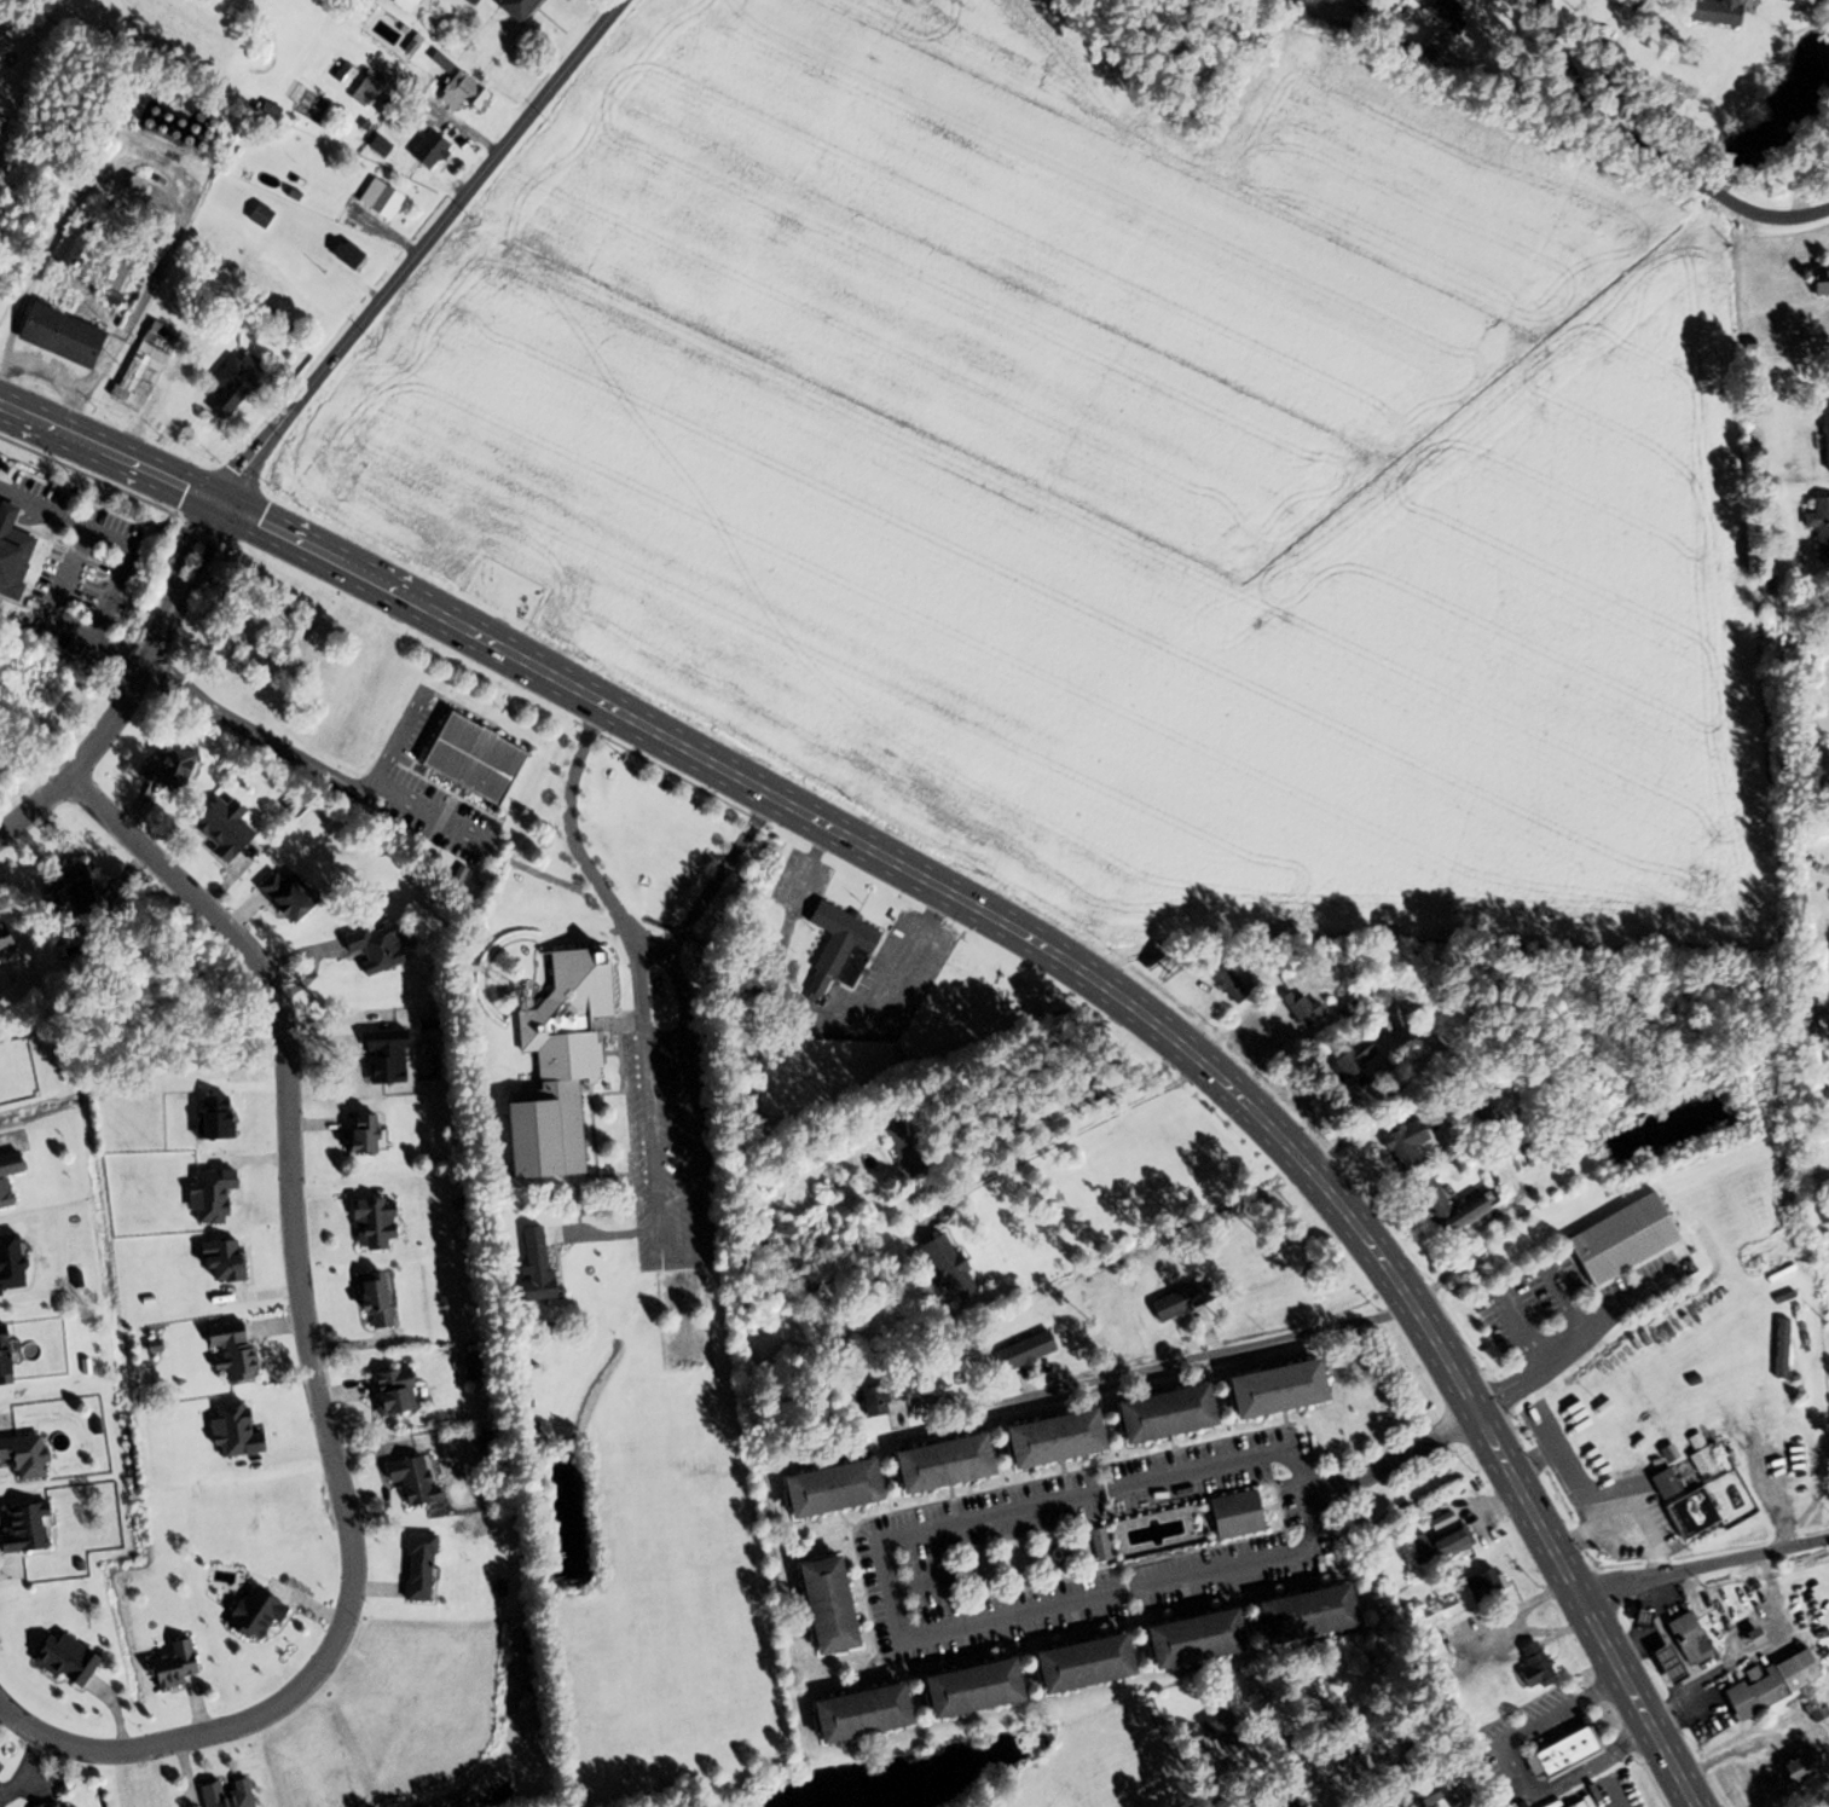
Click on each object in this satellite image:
road: (1524, 0)
building: (467, 1)
building: (511, 8)
building: (1712, 12)
building: (1439, 16)
building: (467, 91)
building: (369, 92)
building: (162, 118)
building: (435, 147)
road: (1650, 149)
road: (151, 157)
building: (384, 198)
building: (262, 214)
building: (75, 242)
road: (421, 249)
building: (352, 254)
building: (125, 272)
building: (1817, 279)
building: (85, 288)
building: (66, 335)
building: (147, 364)
road: (54, 378)
building: (238, 383)
building: (1824, 439)
traffic signals: (220, 502)
building: (1818, 527)
building: (15, 551)
road: (121, 552)
road: (56, 590)
road: (134, 685)
building: (464, 755)
building: (176, 768)
building: (230, 828)
road: (724, 865)
building: (76, 882)
building: (294, 896)
road: (1011, 923)
building: (8, 939)
building: (832, 945)
building: (371, 950)
road: (650, 954)
building: (1225, 984)
building: (1350, 990)
building: (1297, 1006)
road: (1818, 1009)
building: (1349, 1060)
building: (1811, 1064)
building: (551, 1068)
road: (1076, 1104)
building: (369, 1134)
road: (1073, 1134)
building: (1401, 1145)
road: (650, 1146)
building: (910, 1165)
building: (11, 1177)
building: (1442, 1209)
building: (1616, 1240)
road: (1827, 1249)
building: (529, 1267)
building: (942, 1269)
building: (366, 1297)
building: (1176, 1302)
building: (225, 1350)
building: (1018, 1353)
building: (7, 1355)
road: (311, 1360)
building: (469, 1368)
building: (1266, 1390)
building: (387, 1392)
building: (866, 1397)
building: (1154, 1415)
building: (1043, 1441)
building: (28, 1455)
road: (1391, 1458)
building: (1698, 1458)
building: (932, 1465)
building: (1667, 1479)
building: (407, 1481)
building: (820, 1490)
road: (1083, 1496)
road: (1301, 1498)
building: (1688, 1513)
building: (1229, 1516)
building: (30, 1529)
building: (1437, 1546)
road: (1704, 1565)
building: (413, 1569)
road: (1770, 1581)
building: (1477, 1586)
road: (889, 1591)
road: (1107, 1594)
building: (815, 1606)
building: (1437, 1611)
building: (250, 1615)
building: (1296, 1616)
building: (1185, 1640)
building: (1684, 1640)
road: (1754, 1649)
building: (71, 1658)
building: (168, 1666)
building: (1072, 1666)
building: (1661, 1666)
building: (1530, 1667)
building: (1767, 1684)
building: (960, 1690)
building: (1320, 1699)
building: (849, 1715)
building: (1220, 1731)
road: (1290, 1738)
building: (1559, 1754)
building: (1360, 1761)
road: (27, 1765)
building: (1798, 1768)
road: (1513, 1771)
building: (232, 1794)
building: (1424, 1797)
building: (1261, 1799)
building: (52, 1803)
building: (1575, 1805)
road: (996, 1806)

